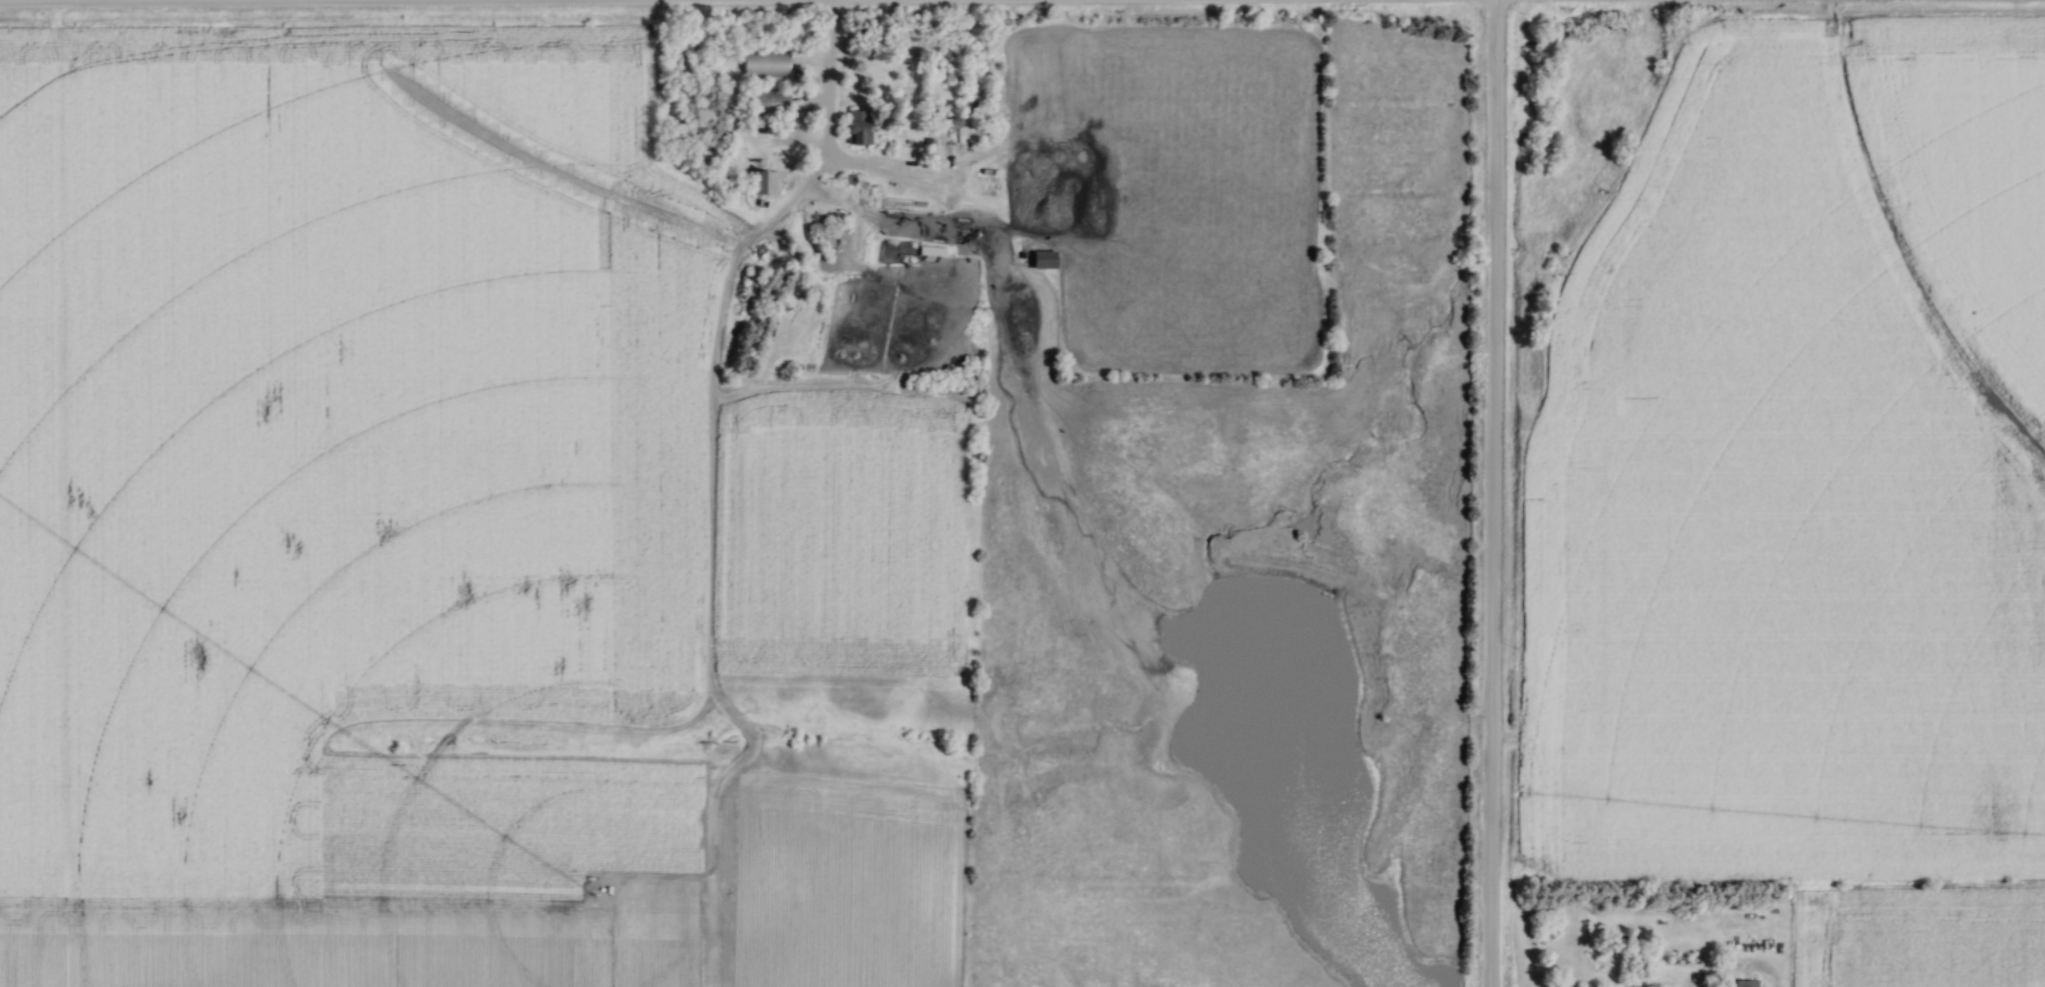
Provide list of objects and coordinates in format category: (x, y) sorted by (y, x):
road: (355, 0)
building: (765, 66)
building: (766, 104)
building: (945, 122)
building: (857, 128)
road: (827, 132)
building: (760, 182)
building: (916, 195)
building: (929, 245)
building: (1043, 260)
road: (1493, 493)
building: (1745, 984)

